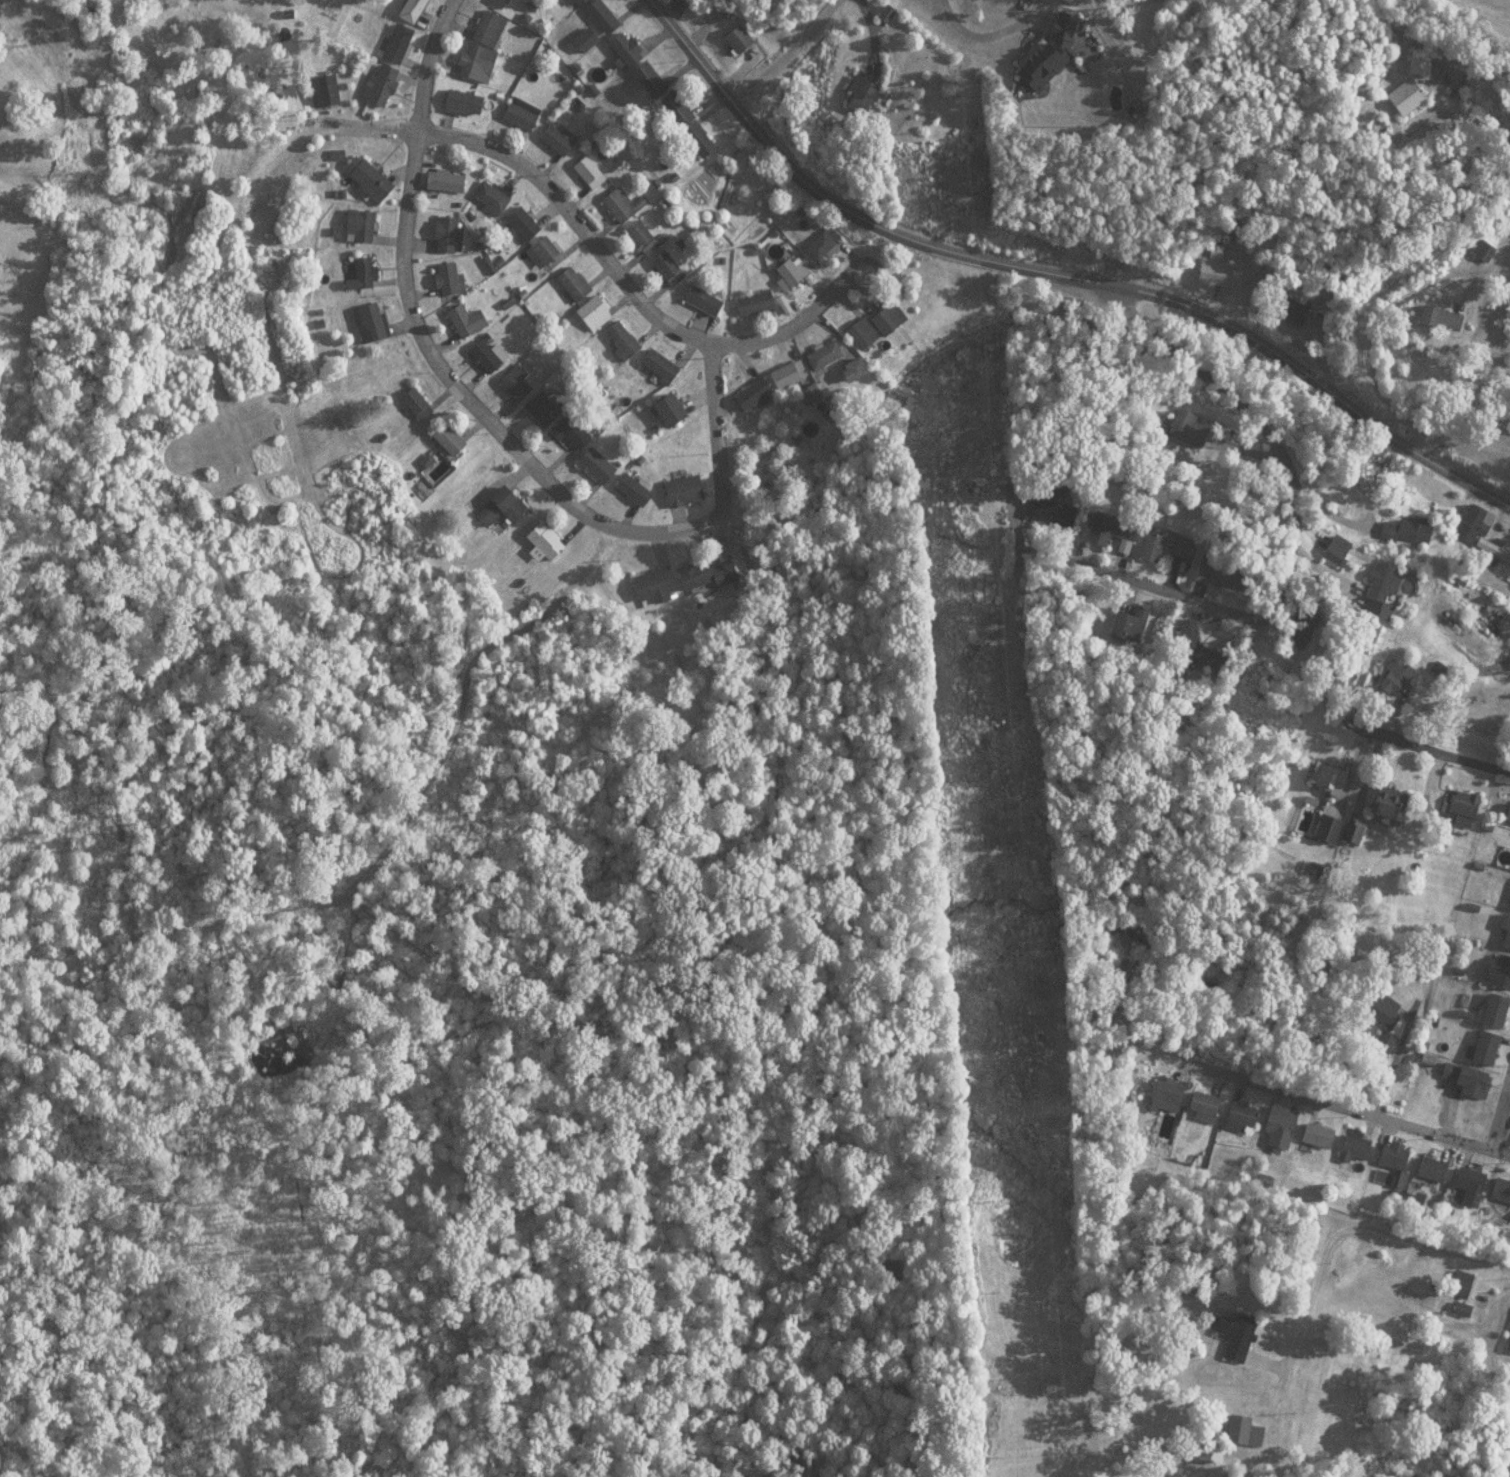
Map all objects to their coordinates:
building: (576, 2)
building: (498, 3)
building: (412, 9)
building: (885, 13)
building: (603, 16)
building: (489, 27)
road: (978, 37)
building: (740, 38)
building: (398, 43)
road: (786, 50)
building: (477, 62)
building: (1419, 62)
building: (639, 63)
building: (379, 85)
power tower: (953, 88)
building: (323, 90)
building: (864, 94)
building: (1407, 96)
building: (463, 102)
building: (520, 113)
building: (689, 124)
building: (559, 140)
building: (589, 172)
building: (369, 179)
building: (446, 180)
building: (492, 196)
building: (622, 205)
building: (1500, 222)
building: (523, 223)
building: (360, 225)
building: (448, 234)
building: (643, 238)
building: (825, 243)
building: (1483, 250)
building: (541, 252)
building: (668, 268)
road: (1059, 268)
building: (365, 270)
building: (794, 271)
building: (1220, 274)
building: (450, 278)
road: (625, 280)
building: (573, 283)
building: (704, 300)
building: (755, 303)
road: (1382, 305)
building: (595, 312)
building: (1307, 316)
road: (414, 317)
building: (888, 318)
building: (1446, 318)
building: (468, 320)
building: (370, 322)
building: (863, 334)
building: (623, 339)
building: (489, 355)
building: (824, 355)
building: (659, 365)
building: (855, 369)
building: (790, 373)
building: (517, 382)
building: (811, 393)
building: (417, 404)
building: (543, 409)
building: (674, 410)
building: (571, 433)
building: (1200, 433)
building: (451, 440)
building: (433, 465)
building: (597, 465)
road: (721, 466)
building: (634, 491)
building: (684, 491)
building: (509, 502)
road: (1031, 508)
building: (1051, 508)
building: (1111, 529)
building: (1478, 530)
building: (1406, 531)
building: (545, 541)
building: (1167, 544)
building: (1337, 550)
building: (1229, 575)
building: (698, 577)
building: (656, 587)
building: (1131, 626)
power tower: (992, 628)
road: (1239, 633)
building: (1397, 679)
road: (1428, 746)
building: (1324, 776)
building: (1392, 803)
building: (1464, 809)
building: (1508, 814)
building: (1330, 828)
building: (1353, 833)
building: (1318, 871)
building: (1506, 927)
building: (1501, 971)
building: (1497, 1011)
building: (1485, 1048)
building: (1467, 1078)
building: (1168, 1098)
road: (1500, 1105)
building: (1204, 1107)
building: (1241, 1117)
building: (1281, 1127)
building: (1318, 1135)
road: (1349, 1139)
building: (1355, 1150)
building: (1392, 1163)
building: (1433, 1168)
road: (1170, 1174)
building: (1467, 1186)
building: (1500, 1191)
road: (1325, 1282)
building: (1462, 1284)
building: (1243, 1337)
building: (1509, 1347)
power tower: (1052, 1389)
building: (1244, 1432)

